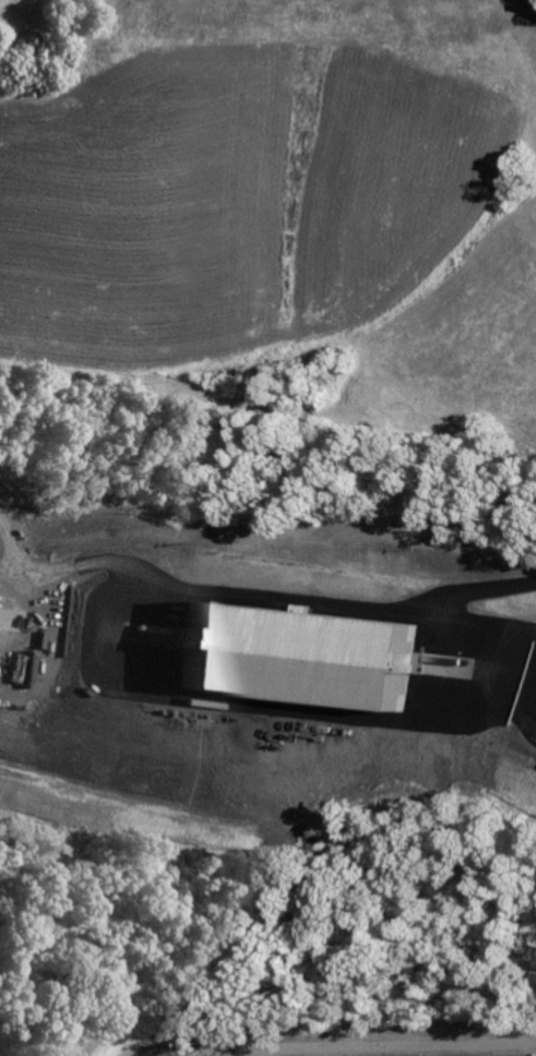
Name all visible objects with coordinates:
building: (93, 248)
road: (12, 544)
road: (478, 590)
road: (277, 598)
building: (298, 656)
road: (314, 1034)
road: (98, 1055)

